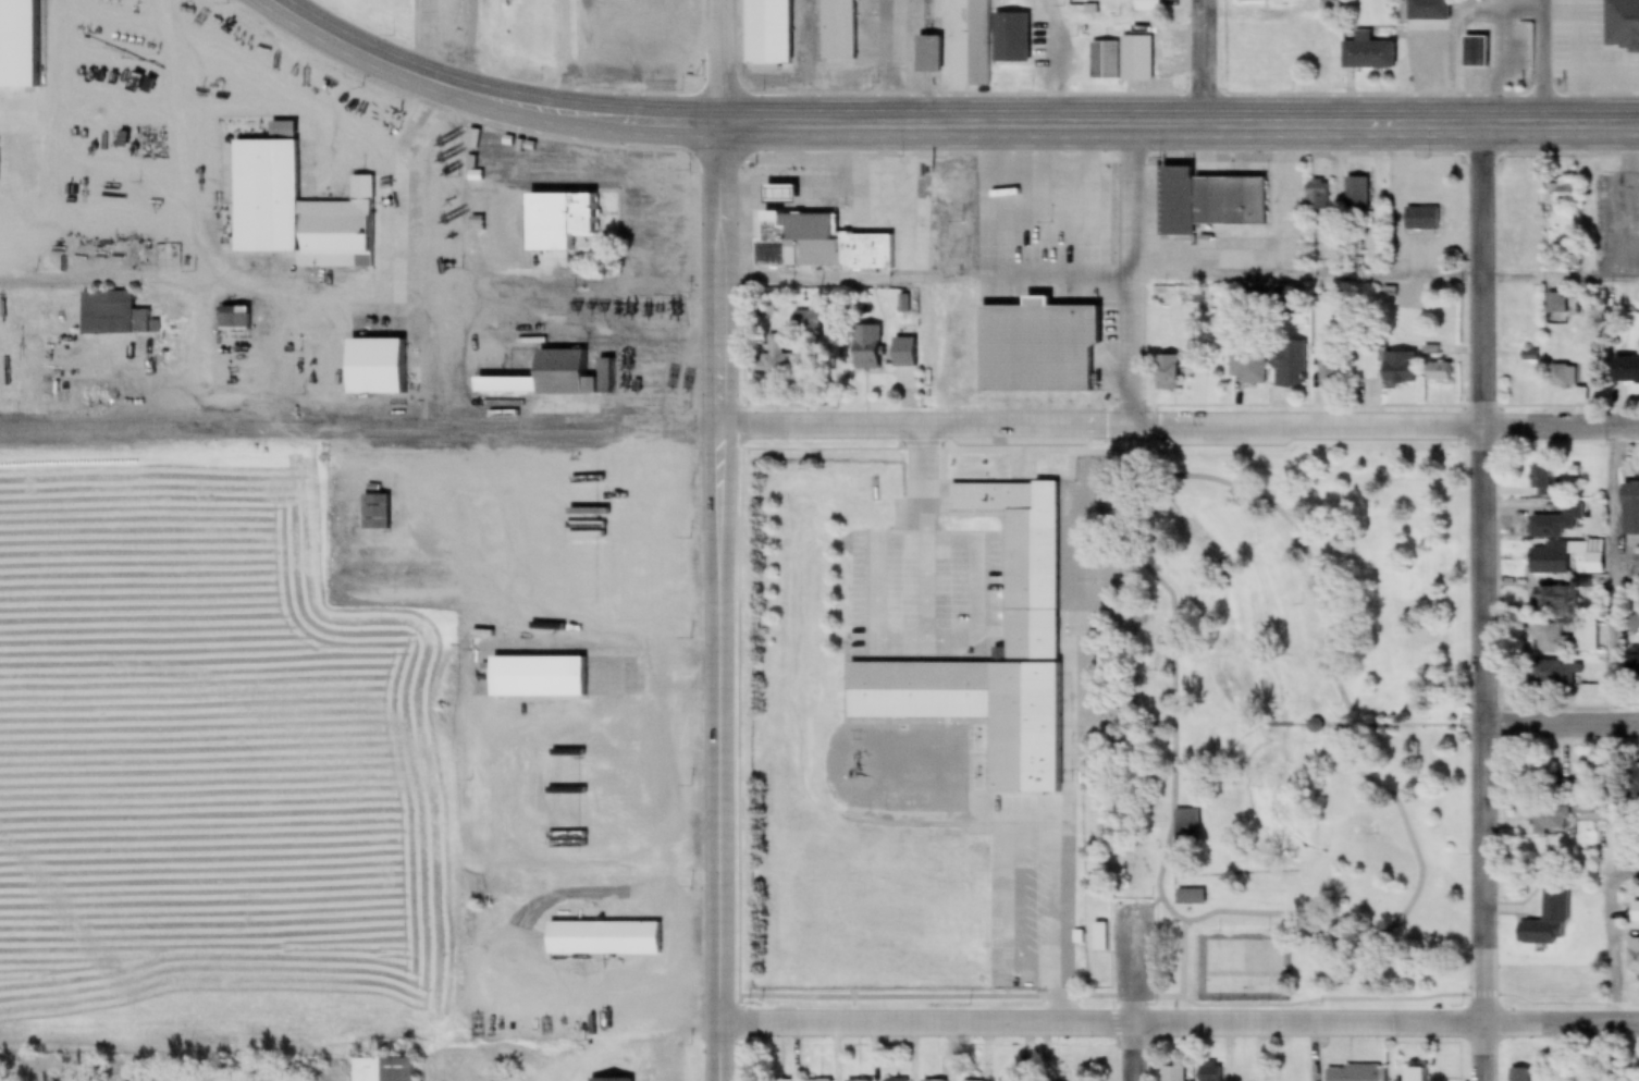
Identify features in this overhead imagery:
building: (1250, 0)
building: (1330, 5)
building: (1428, 10)
building: (836, 29)
building: (767, 30)
building: (1009, 38)
building: (1628, 41)
building: (977, 42)
building: (1482, 51)
building: (1134, 53)
building: (1367, 53)
building: (927, 54)
road: (722, 62)
road: (1051, 62)
building: (1104, 62)
road: (1204, 62)
road: (1549, 62)
road: (485, 97)
road: (1180, 125)
building: (264, 194)
building: (1357, 194)
building: (1562, 194)
building: (1317, 195)
building: (1207, 202)
building: (1420, 219)
building: (559, 221)
building: (819, 245)
road: (1104, 274)
road: (1137, 278)
road: (1564, 278)
building: (1556, 305)
airport hangar: (108, 315)
building: (108, 315)
road: (584, 324)
building: (866, 336)
building: (233, 345)
building: (1033, 347)
building: (1247, 365)
building: (1287, 366)
airport terminal: (373, 367)
building: (373, 367)
airport apron: (438, 367)
building: (1396, 368)
building: (1173, 369)
building: (1624, 370)
building: (1438, 372)
airport apron: (104, 373)
airport hangar: (558, 374)
building: (558, 374)
airport apron: (639, 374)
building: (1562, 376)
airport taxiway: (433, 414)
airport taxiway: (113, 418)
road: (1488, 425)
airport runway: (328, 430)
road: (1176, 431)
building: (1630, 495)
building: (374, 511)
building: (1554, 521)
building: (1587, 557)
building: (1549, 560)
building: (1637, 564)
road: (1626, 575)
road: (1614, 578)
building: (1027, 587)
building: (1548, 598)
road: (717, 602)
road: (739, 625)
building: (1632, 625)
building: (1562, 639)
airport: (250, 643)
building: (1631, 664)
building: (533, 675)
building: (1553, 675)
road: (1563, 725)
road: (1309, 727)
park: (1286, 739)
building: (1541, 775)
building: (1632, 782)
building: (1581, 807)
building: (1548, 819)
building: (1182, 826)
building: (1187, 897)
road: (1487, 904)
building: (1631, 912)
building: (1537, 934)
building: (1100, 937)
road: (1613, 937)
building: (601, 939)
road: (1348, 939)
building: (1632, 956)
airport runway: (69, 958)
road: (1180, 1024)
road: (1136, 1053)
building: (383, 1070)
building: (1207, 1072)
building: (1171, 1073)
building: (1243, 1073)
building: (1352, 1073)
building: (1416, 1074)
building: (1520, 1074)

